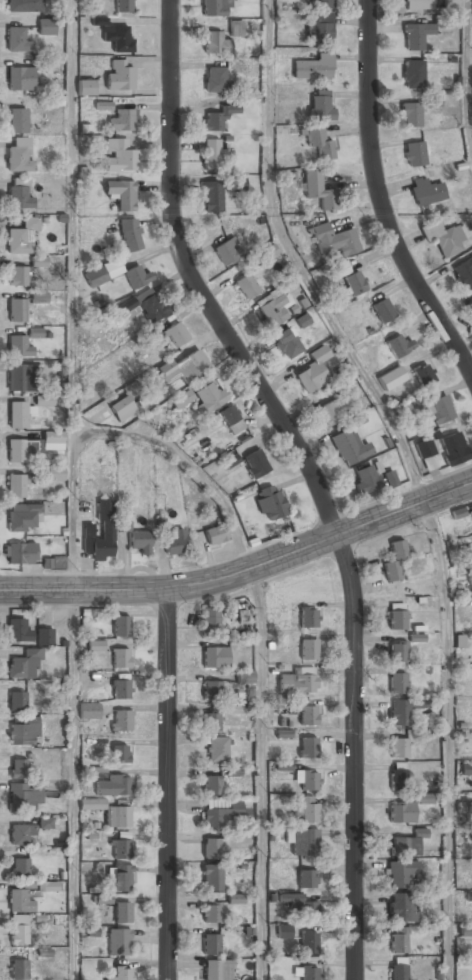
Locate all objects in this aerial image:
building: (319, 4)
building: (417, 4)
building: (451, 5)
building: (24, 6)
building: (124, 6)
building: (217, 8)
building: (46, 26)
building: (236, 28)
building: (319, 28)
building: (115, 35)
building: (416, 36)
building: (17, 40)
building: (216, 42)
building: (313, 66)
road: (465, 74)
building: (119, 75)
building: (412, 75)
building: (20, 78)
building: (215, 79)
building: (85, 87)
building: (320, 103)
building: (103, 106)
building: (410, 115)
building: (122, 120)
building: (17, 121)
building: (213, 121)
building: (322, 142)
building: (414, 153)
building: (211, 154)
building: (18, 155)
building: (120, 156)
building: (235, 183)
building: (319, 190)
building: (426, 190)
building: (19, 194)
building: (121, 194)
building: (211, 197)
road: (380, 199)
building: (129, 235)
building: (442, 236)
building: (21, 237)
building: (334, 240)
building: (228, 252)
building: (267, 253)
building: (39, 261)
road: (296, 264)
building: (464, 273)
building: (116, 274)
building: (18, 277)
building: (349, 279)
building: (245, 286)
road: (72, 295)
building: (39, 297)
building: (471, 301)
building: (143, 306)
building: (272, 308)
building: (16, 310)
building: (383, 310)
building: (35, 332)
building: (175, 335)
building: (150, 337)
building: (286, 343)
building: (399, 345)
building: (18, 346)
building: (183, 367)
building: (313, 371)
building: (423, 375)
building: (20, 378)
building: (391, 378)
building: (202, 397)
building: (44, 400)
building: (122, 408)
building: (439, 409)
building: (328, 413)
building: (17, 415)
building: (231, 420)
building: (53, 441)
building: (348, 447)
building: (454, 449)
building: (20, 450)
building: (425, 454)
road: (187, 464)
building: (255, 464)
building: (55, 474)
road: (311, 475)
building: (366, 479)
building: (391, 480)
building: (16, 487)
building: (270, 503)
building: (457, 513)
building: (30, 514)
building: (471, 514)
building: (124, 525)
building: (100, 534)
building: (216, 534)
building: (140, 542)
building: (176, 543)
building: (20, 554)
building: (394, 560)
building: (53, 562)
road: (243, 571)
building: (396, 616)
building: (308, 618)
building: (210, 621)
building: (120, 627)
building: (17, 630)
building: (44, 637)
building: (416, 638)
building: (95, 646)
building: (309, 650)
building: (397, 651)
building: (120, 658)
building: (214, 658)
building: (24, 664)
building: (244, 678)
building: (297, 682)
building: (397, 682)
building: (120, 689)
building: (211, 690)
building: (17, 701)
building: (88, 710)
building: (403, 710)
building: (307, 715)
building: (121, 719)
building: (210, 722)
building: (24, 732)
road: (449, 738)
building: (399, 746)
building: (307, 747)
building: (217, 750)
building: (120, 753)
building: (18, 768)
building: (466, 769)
building: (98, 772)
road: (261, 774)
building: (398, 775)
building: (307, 780)
road: (168, 784)
road: (74, 785)
building: (113, 785)
building: (212, 786)
building: (25, 796)
building: (424, 799)
building: (109, 810)
building: (305, 810)
building: (401, 812)
building: (467, 812)
building: (221, 816)
building: (43, 822)
building: (20, 834)
building: (304, 843)
building: (407, 844)
building: (120, 847)
building: (210, 848)
building: (20, 868)
building: (400, 872)
building: (211, 877)
building: (121, 878)
building: (307, 880)
building: (47, 886)
building: (469, 896)
building: (103, 899)
building: (235, 899)
building: (19, 901)
building: (300, 905)
building: (398, 907)
building: (210, 912)
building: (123, 913)
building: (19, 930)
building: (466, 930)
building: (284, 931)
building: (398, 940)
building: (118, 942)
building: (308, 942)
building: (211, 944)
building: (18, 970)
building: (218, 970)
building: (398, 971)
building: (309, 973)
building: (121, 974)

